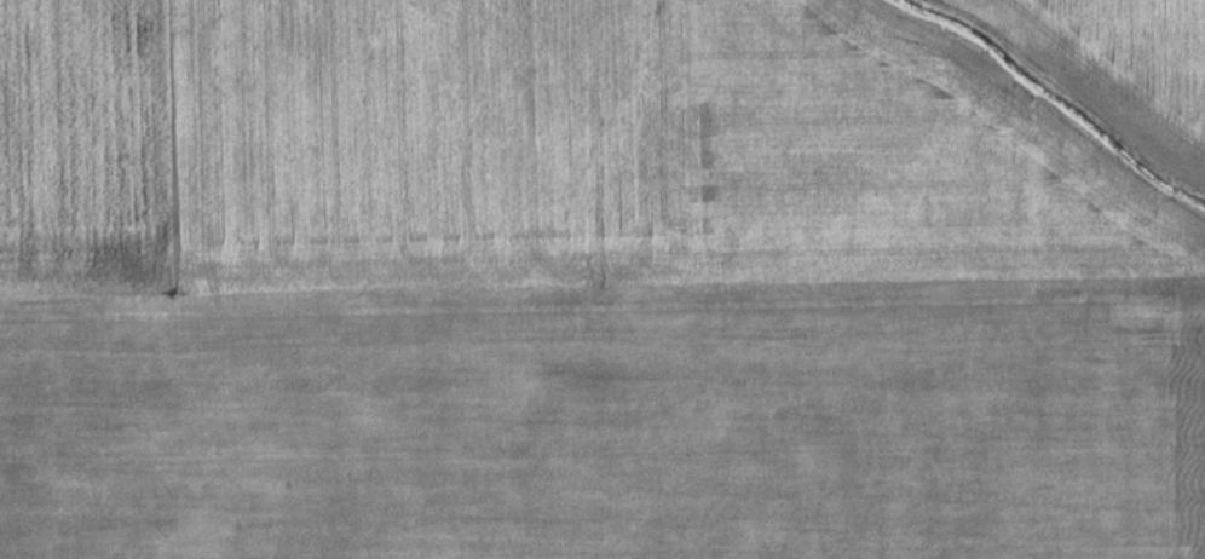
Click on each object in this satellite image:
crop: (1126, 52)
crop: (565, 294)

